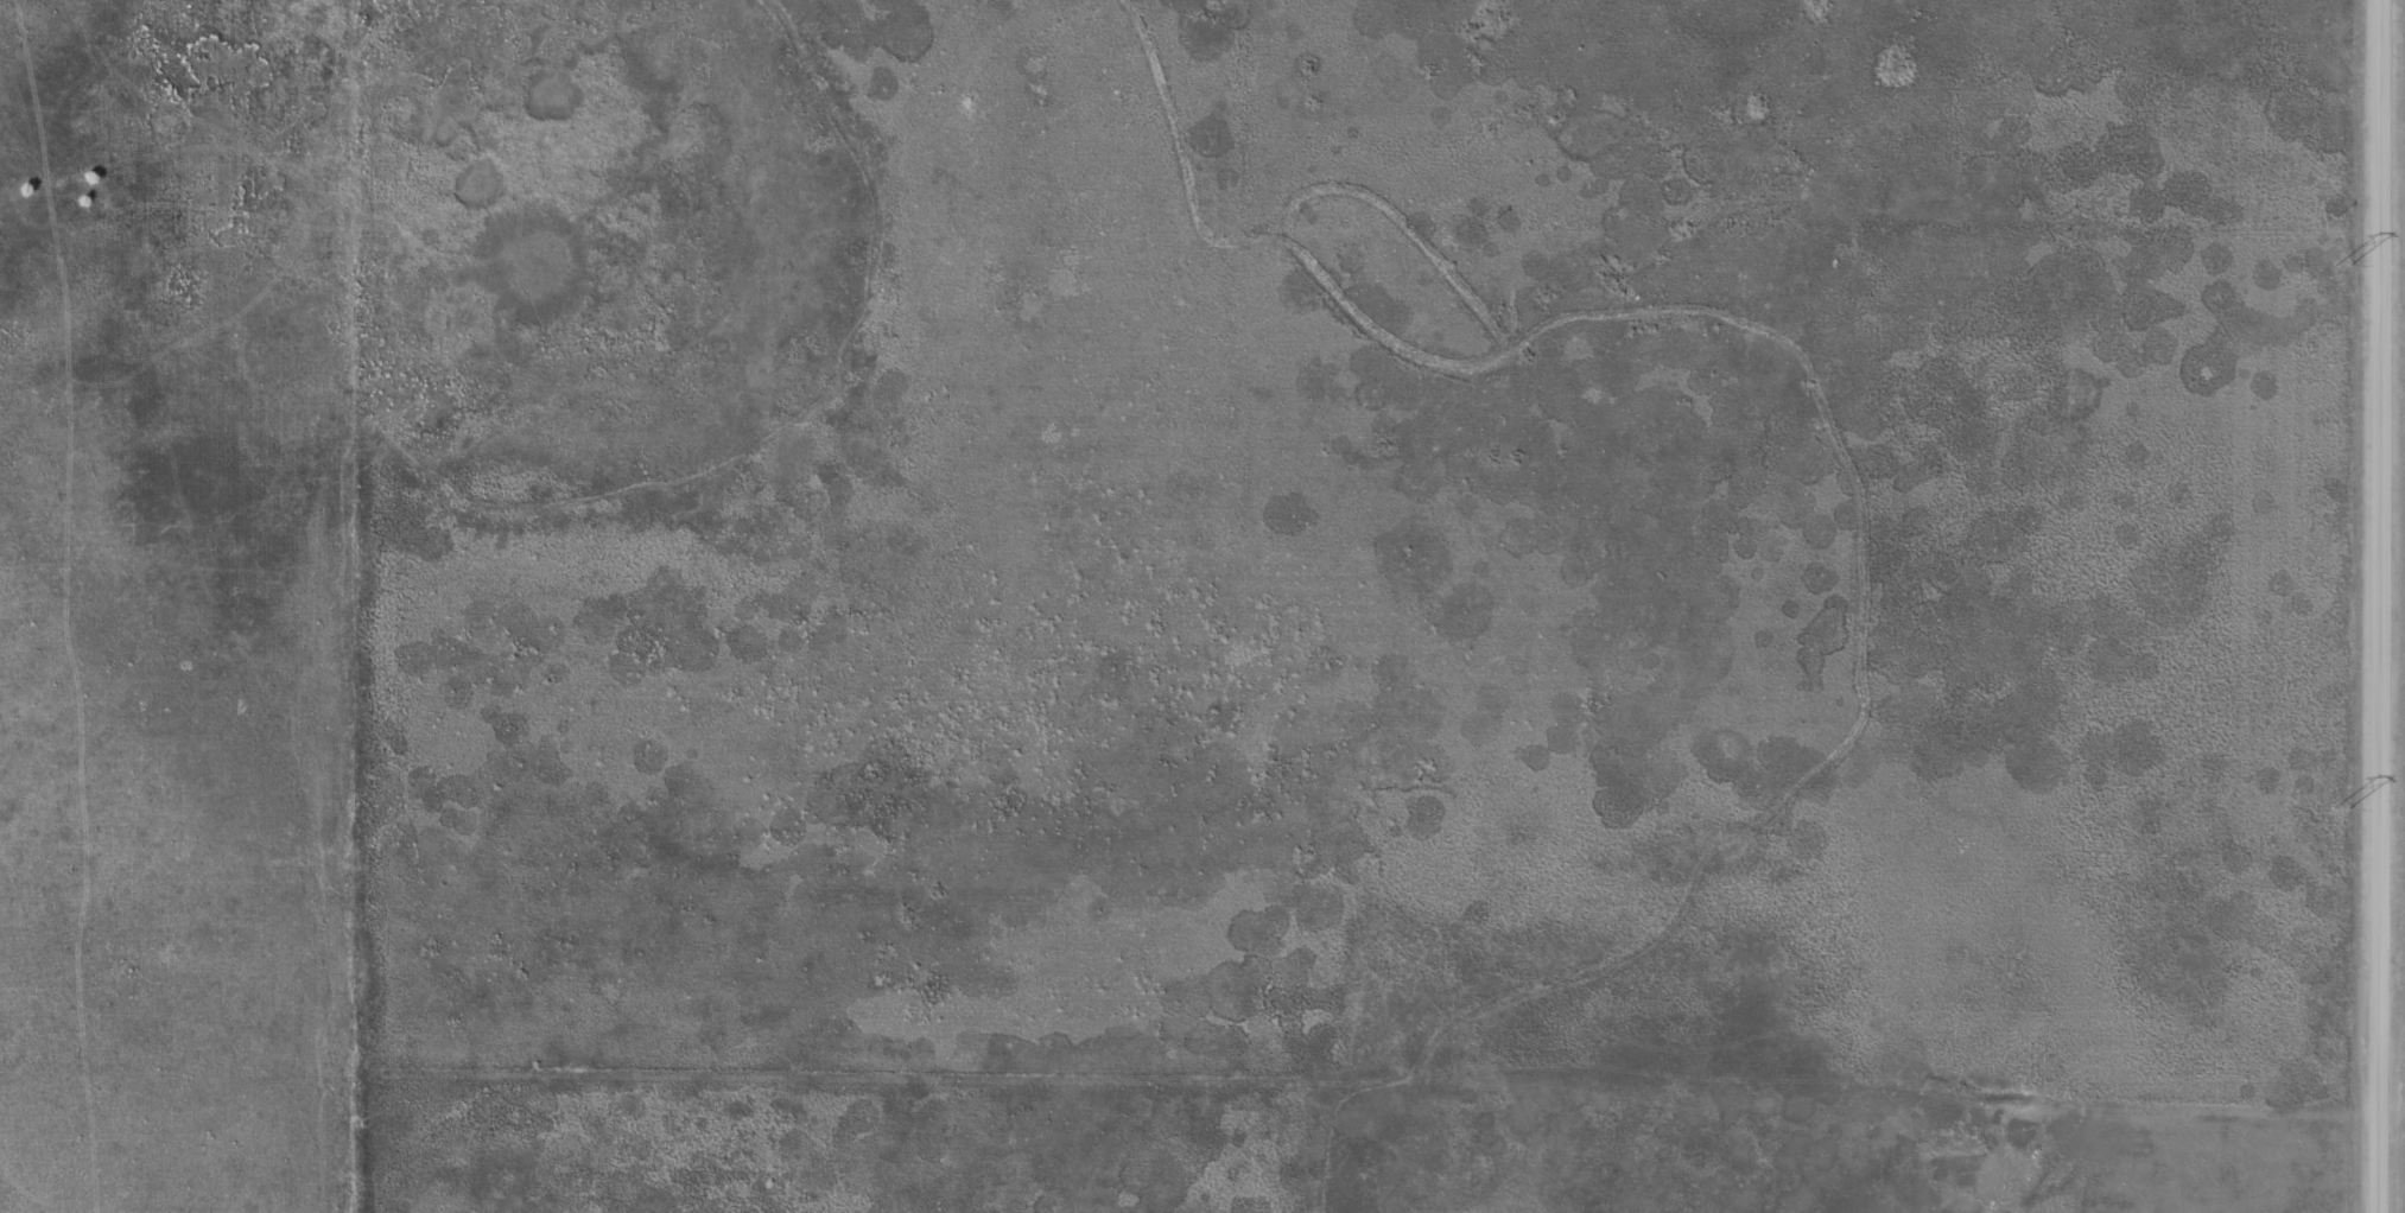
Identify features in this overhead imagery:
power tower: (2337, 262)
road: (2404, 605)
power tower: (2337, 809)
road: (2151, 1117)

